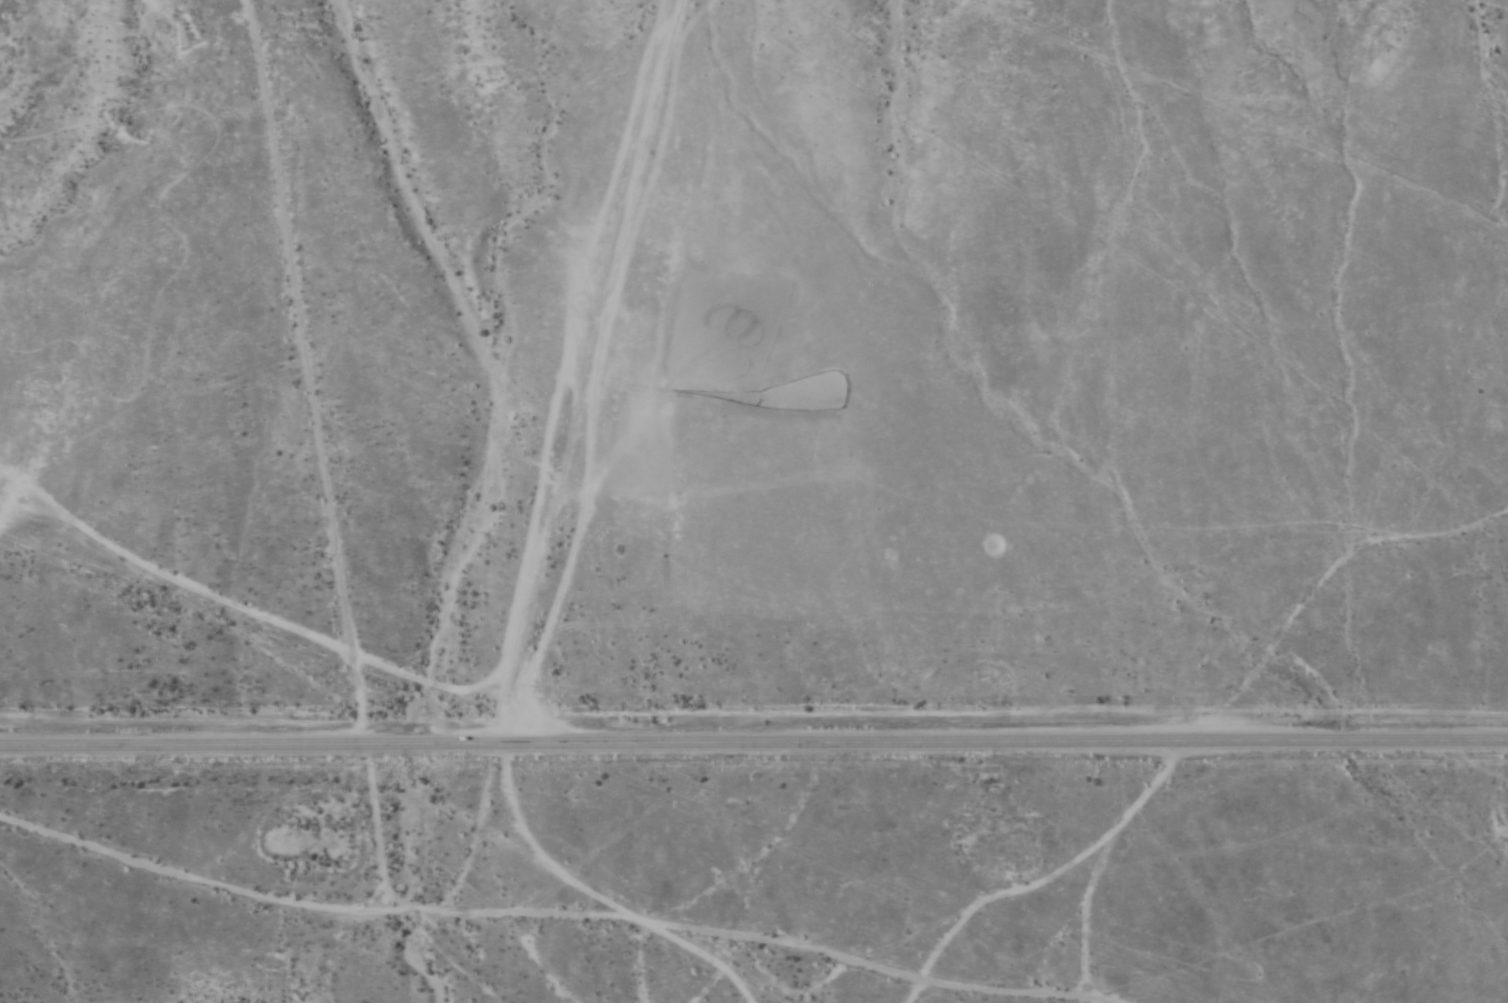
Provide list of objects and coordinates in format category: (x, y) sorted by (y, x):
road: (754, 747)

